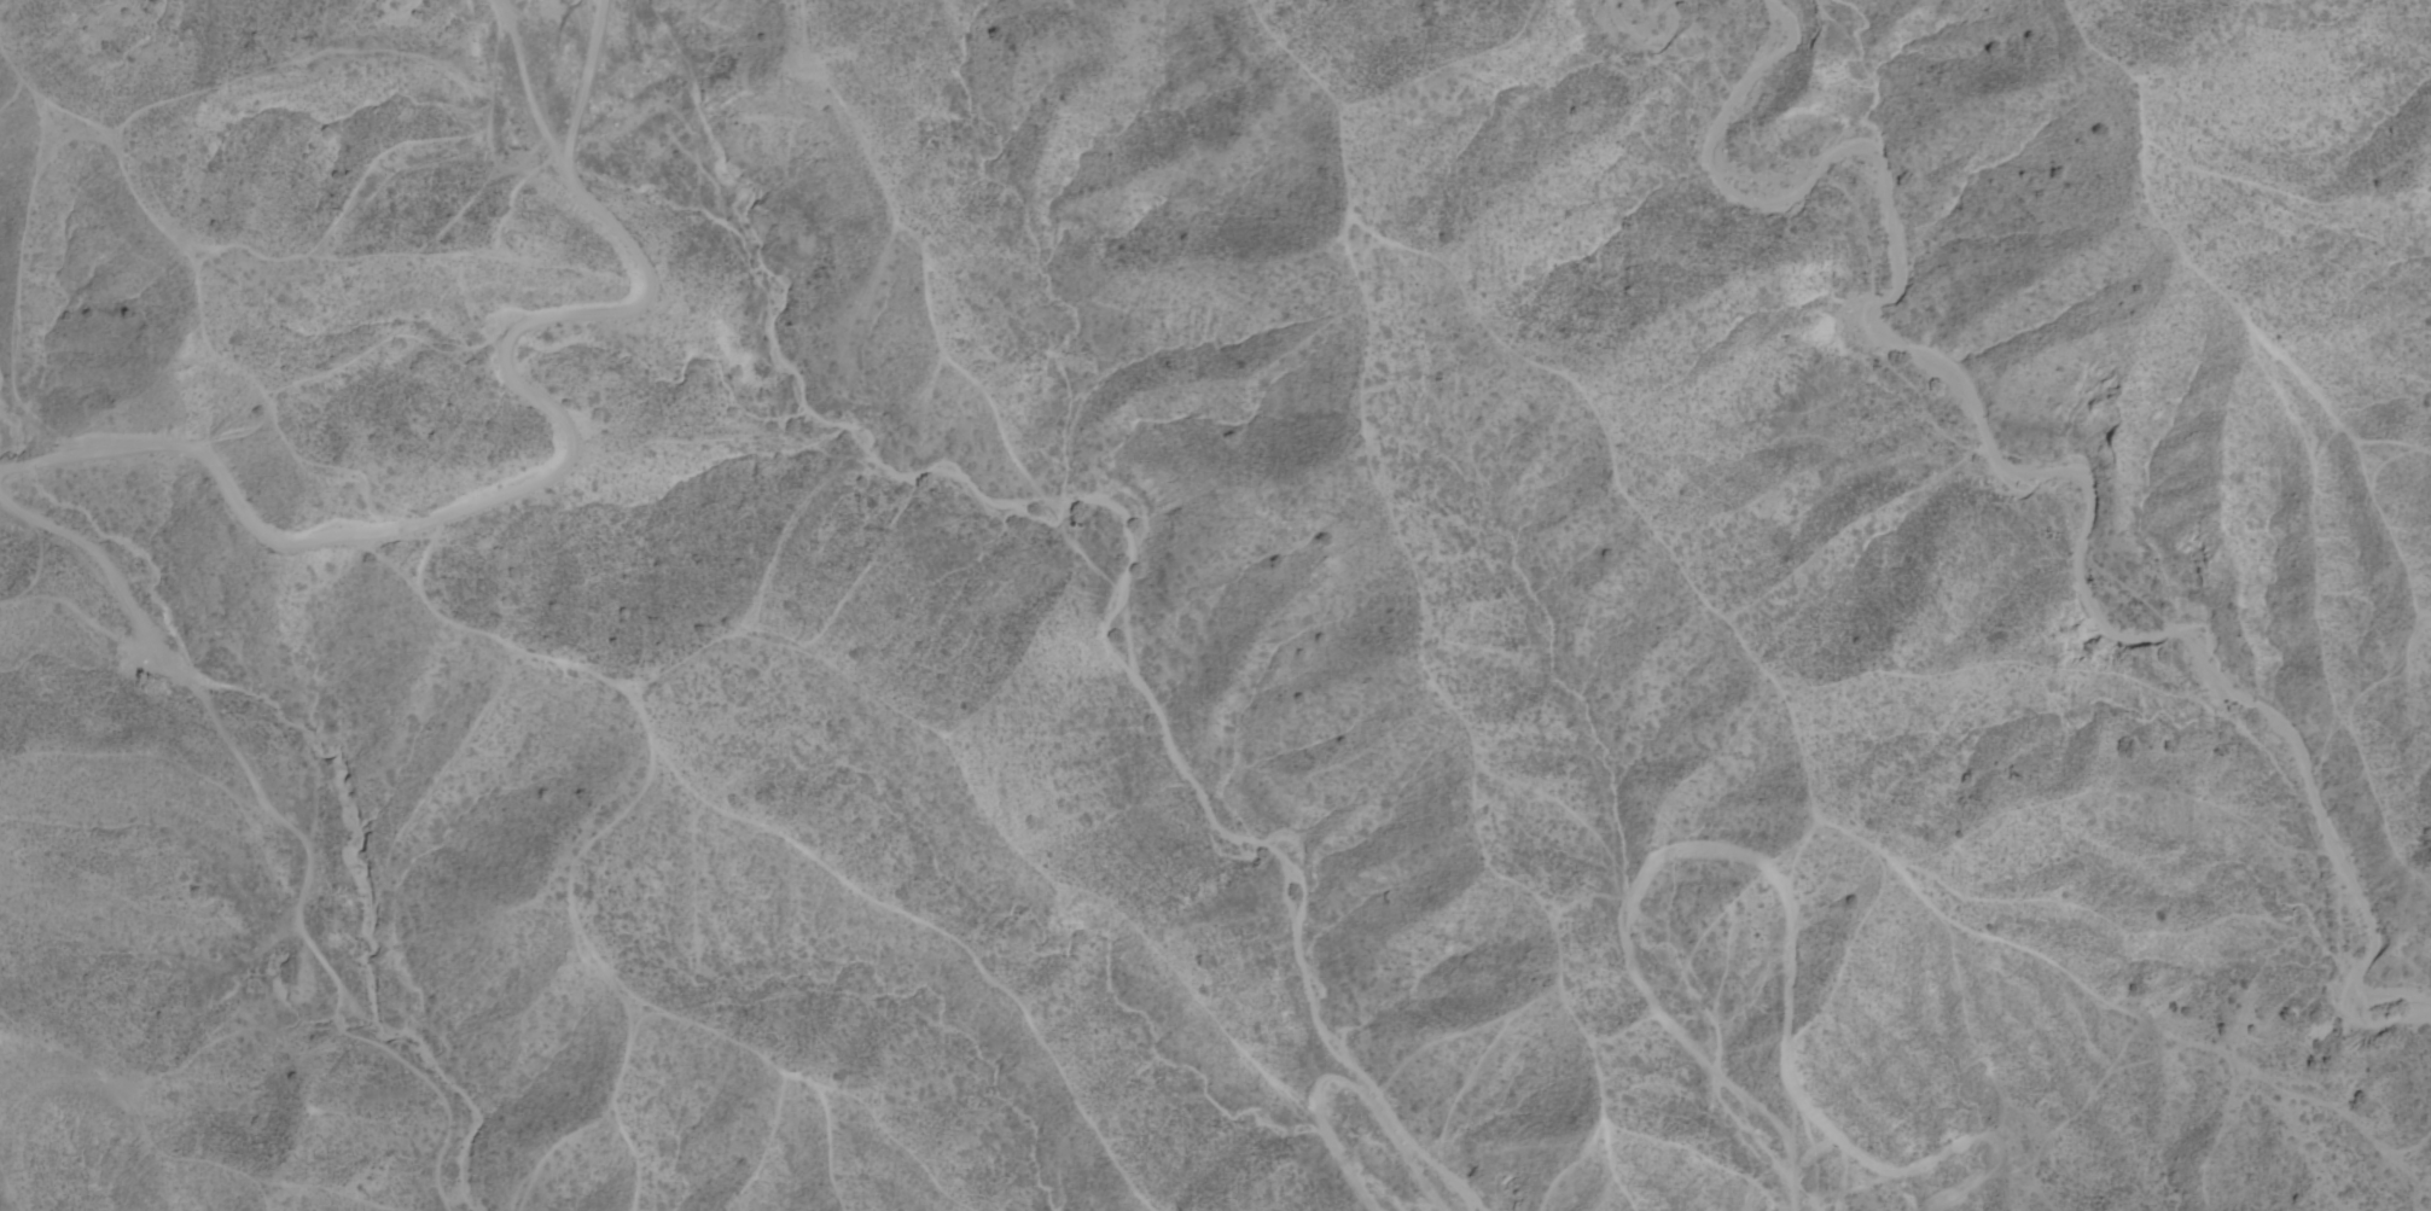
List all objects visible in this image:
road: (569, 456)
road: (258, 822)

